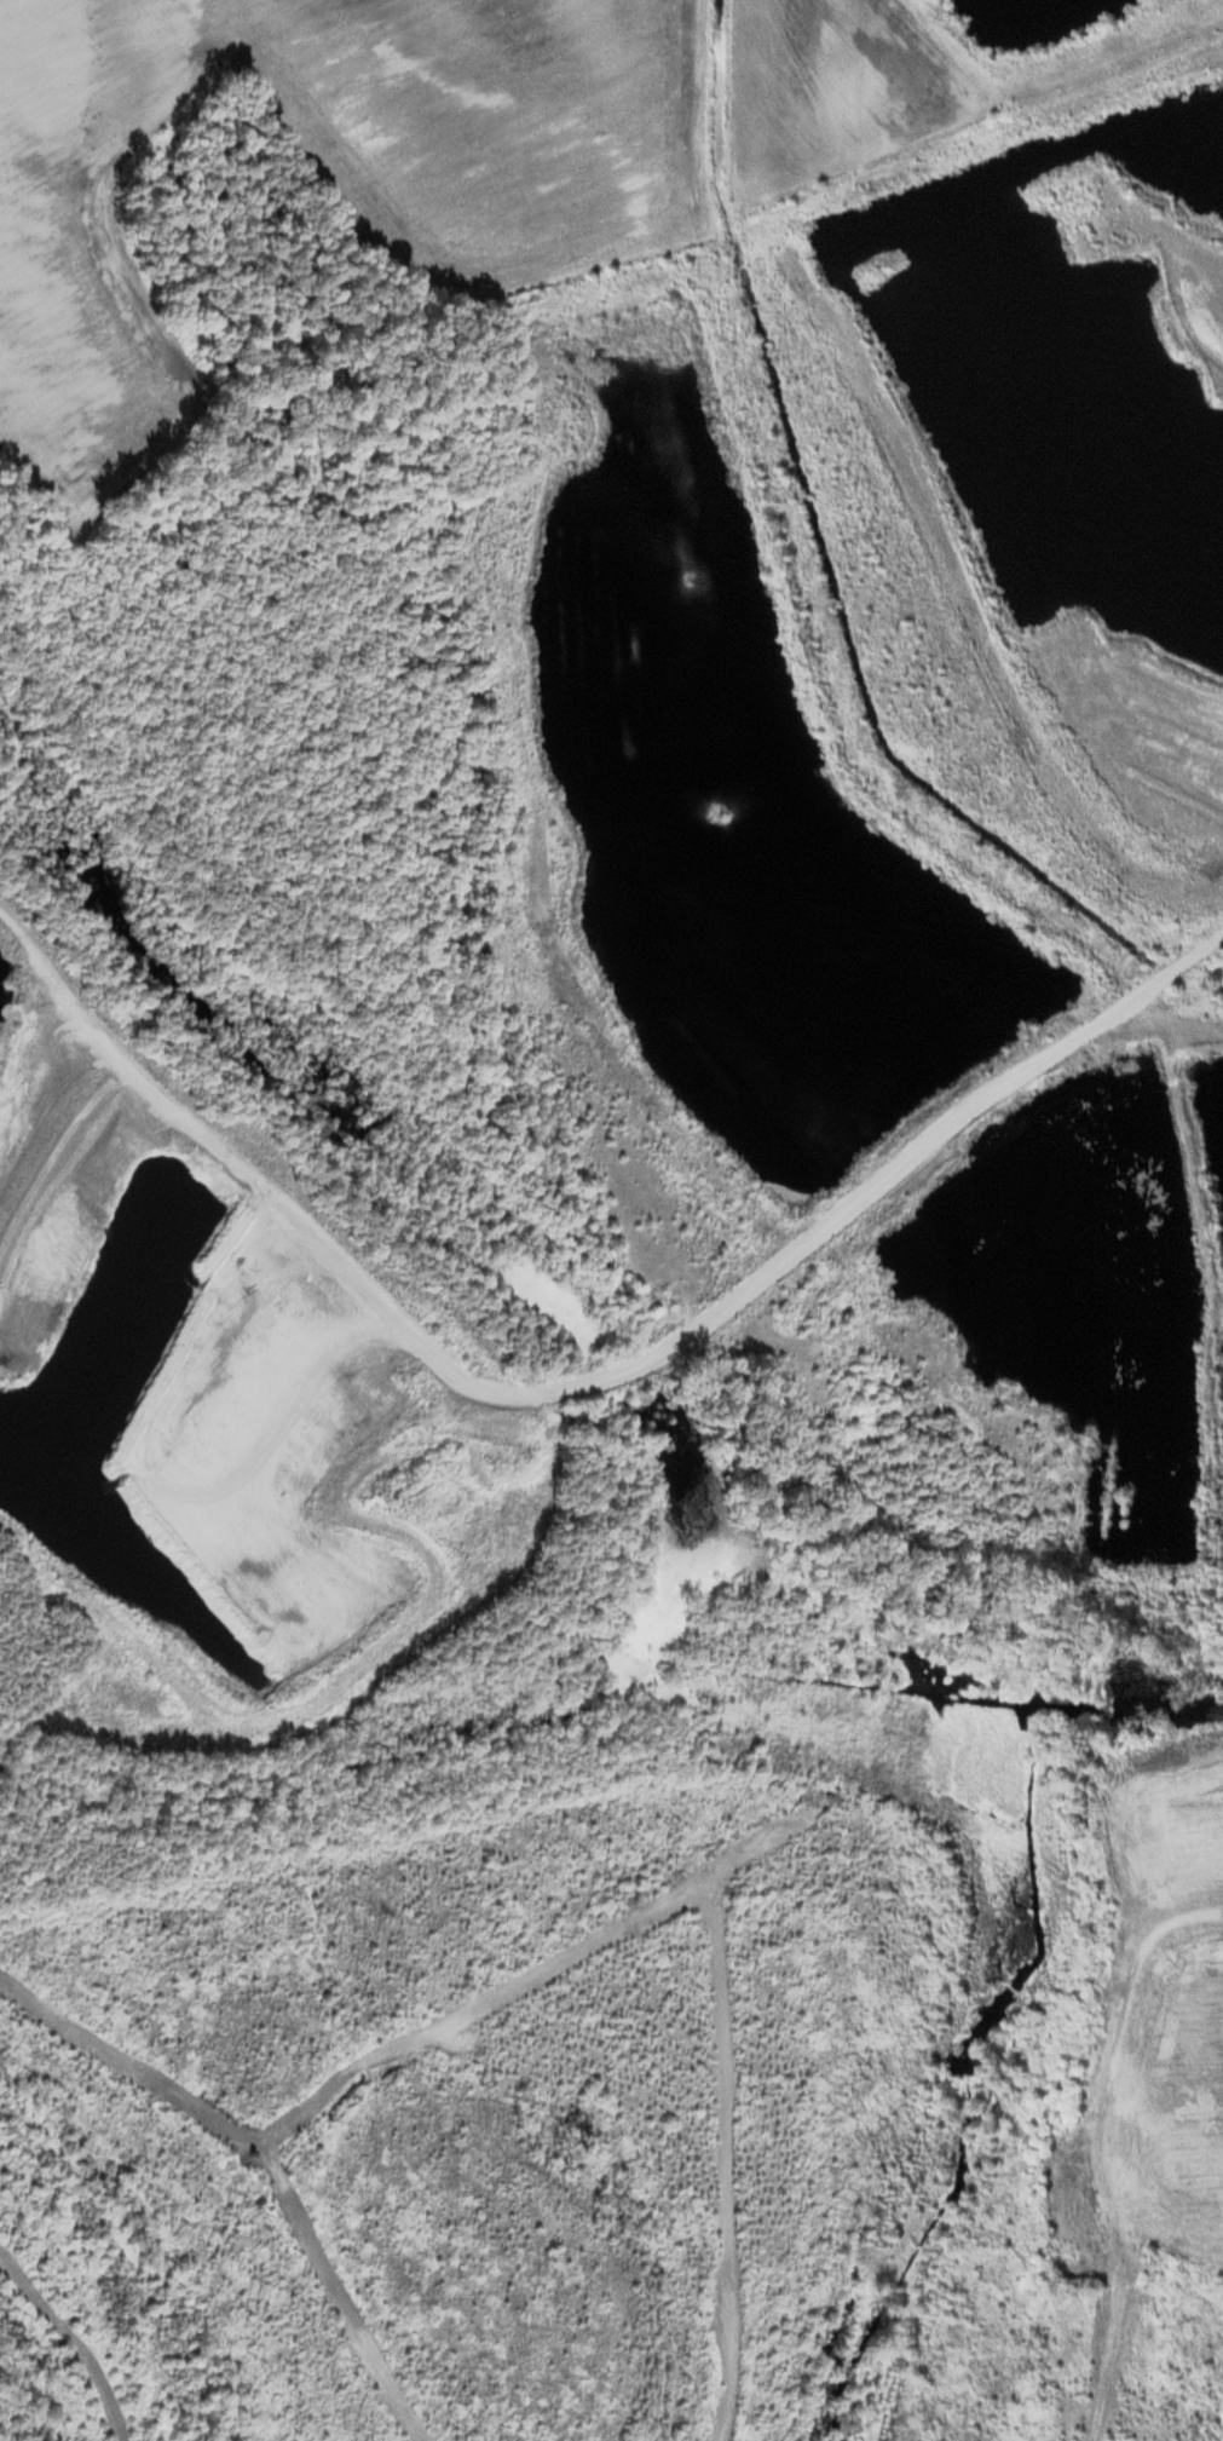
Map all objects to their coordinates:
road: (1194, 1904)

